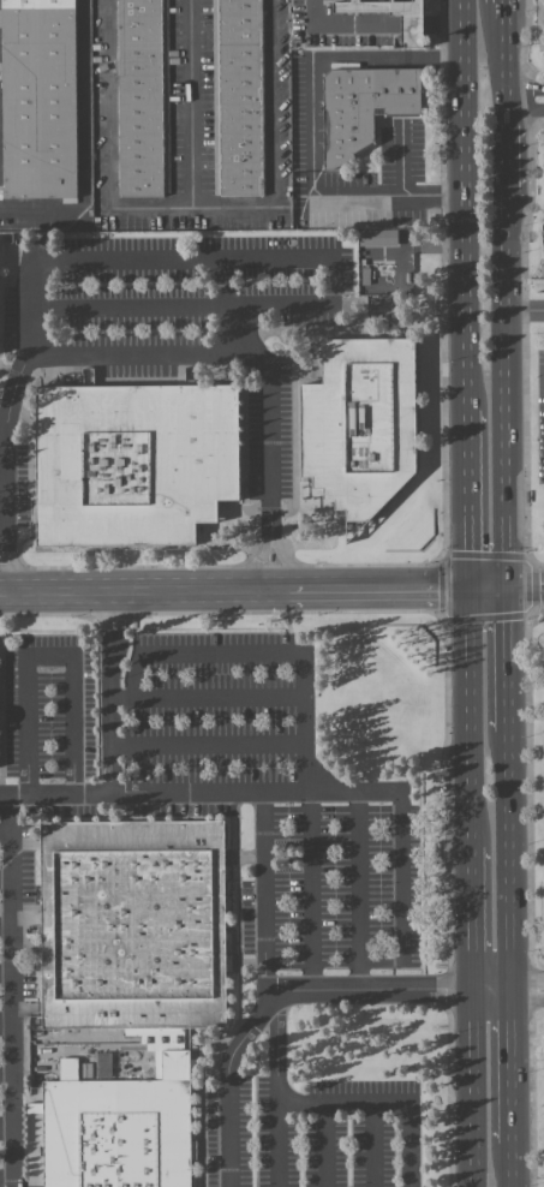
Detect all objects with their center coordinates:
road: (345, 23)
road: (412, 23)
road: (446, 23)
building: (411, 29)
road: (506, 54)
road: (442, 55)
road: (313, 62)
road: (525, 88)
building: (142, 97)
building: (237, 97)
building: (37, 99)
road: (526, 107)
building: (372, 111)
road: (271, 142)
road: (82, 145)
road: (508, 148)
road: (377, 199)
road: (470, 204)
road: (153, 208)
building: (377, 237)
road: (126, 261)
road: (526, 312)
road: (139, 353)
road: (508, 387)
building: (370, 429)
road: (2, 433)
building: (134, 469)
road: (2, 479)
road: (472, 497)
road: (1, 527)
traffic signals: (473, 586)
road: (508, 586)
traffic signals: (509, 586)
road: (235, 589)
road: (46, 651)
road: (265, 651)
road: (510, 657)
road: (109, 691)
road: (207, 696)
road: (474, 715)
road: (207, 744)
road: (207, 792)
road: (56, 793)
road: (1, 794)
parking lot: (222, 800)
road: (1, 830)
road: (400, 851)
road: (513, 859)
road: (355, 891)
road: (263, 893)
road: (311, 893)
road: (476, 917)
building: (142, 930)
road: (6, 990)
road: (403, 991)
road: (246, 1031)
road: (275, 1045)
road: (515, 1066)
road: (476, 1088)
road: (345, 1098)
building: (126, 1123)
road: (227, 1127)
road: (413, 1141)
road: (276, 1143)
road: (324, 1143)
road: (373, 1143)
road: (516, 1164)

